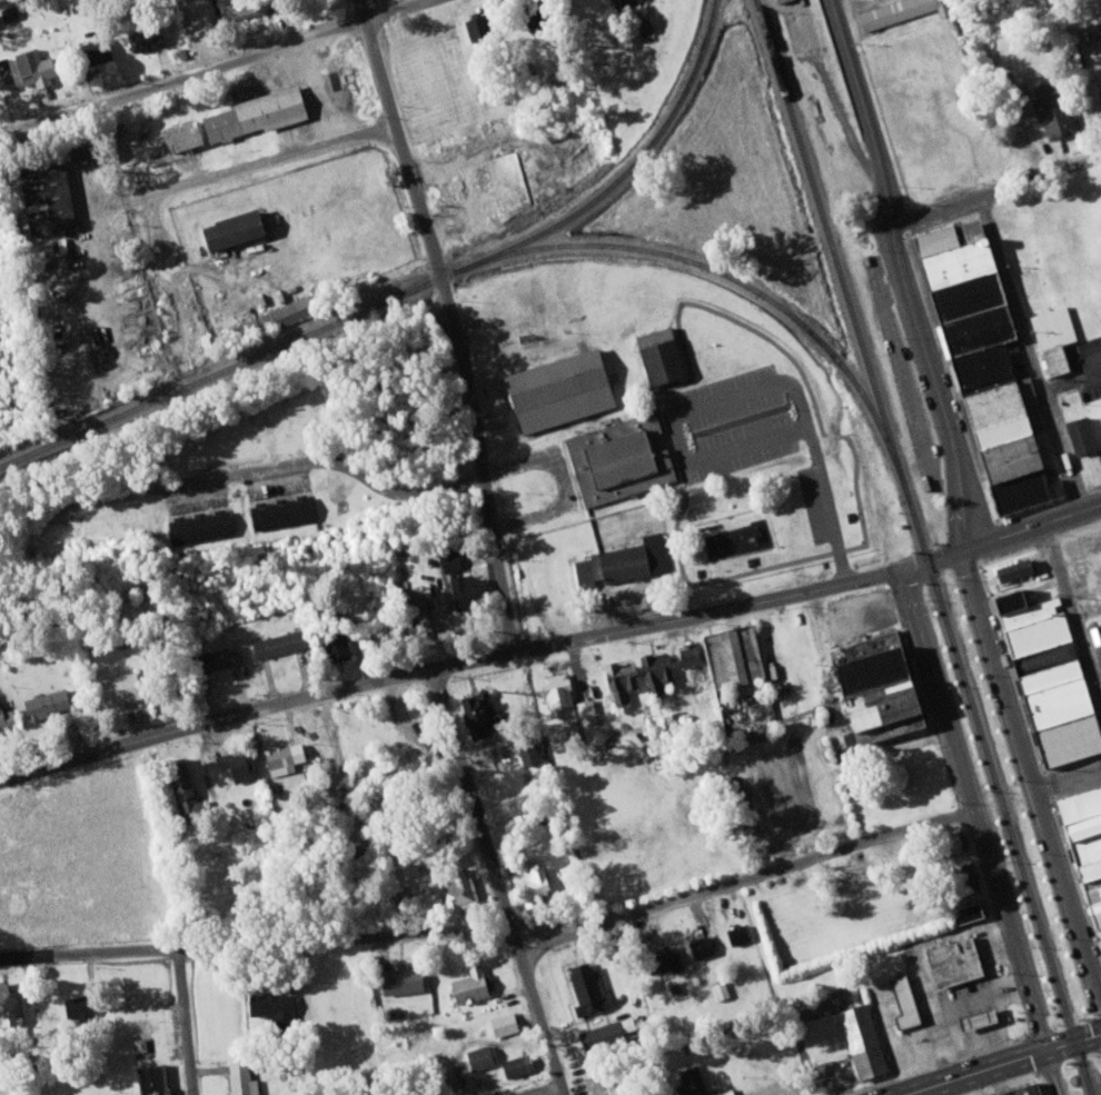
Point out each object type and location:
building: (776, 0)
building: (616, 2)
building: (892, 11)
building: (143, 36)
building: (95, 49)
road: (235, 62)
building: (30, 66)
building: (6, 74)
building: (1050, 109)
building: (252, 112)
building: (178, 135)
building: (73, 147)
railway: (636, 162)
road: (258, 165)
building: (503, 177)
road: (994, 190)
building: (43, 197)
building: (226, 228)
road: (172, 271)
road: (903, 273)
railway: (745, 282)
road: (456, 321)
building: (1050, 337)
building: (657, 354)
road: (1033, 354)
railway: (240, 361)
building: (982, 367)
building: (555, 389)
building: (1099, 397)
building: (1078, 434)
building: (616, 459)
road: (305, 464)
building: (198, 525)
railway: (924, 547)
building: (1083, 557)
building: (624, 559)
building: (449, 560)
building: (1011, 568)
building: (1006, 584)
building: (462, 586)
building: (1097, 633)
building: (275, 644)
road: (550, 644)
building: (336, 645)
building: (217, 657)
building: (731, 658)
building: (655, 671)
building: (1045, 677)
building: (618, 680)
building: (116, 689)
building: (872, 694)
building: (556, 696)
building: (44, 703)
building: (584, 709)
building: (472, 713)
building: (6, 718)
building: (526, 749)
building: (278, 757)
building: (237, 764)
road: (1030, 774)
building: (178, 785)
road: (976, 810)
building: (948, 843)
building: (1082, 845)
road: (810, 860)
building: (969, 875)
road: (497, 882)
building: (534, 885)
building: (458, 890)
building: (965, 912)
building: (737, 933)
road: (256, 944)
building: (698, 946)
building: (664, 959)
building: (951, 960)
building: (398, 979)
building: (469, 985)
building: (720, 988)
building: (585, 989)
building: (901, 1001)
building: (77, 1006)
building: (270, 1007)
building: (9, 1011)
building: (972, 1018)
road: (186, 1022)
building: (505, 1023)
building: (861, 1041)
building: (479, 1056)
building: (516, 1064)
road: (1004, 1065)
road: (1054, 1074)
building: (149, 1079)
building: (240, 1079)
building: (691, 1081)
building: (1020, 1089)
building: (722, 1092)

